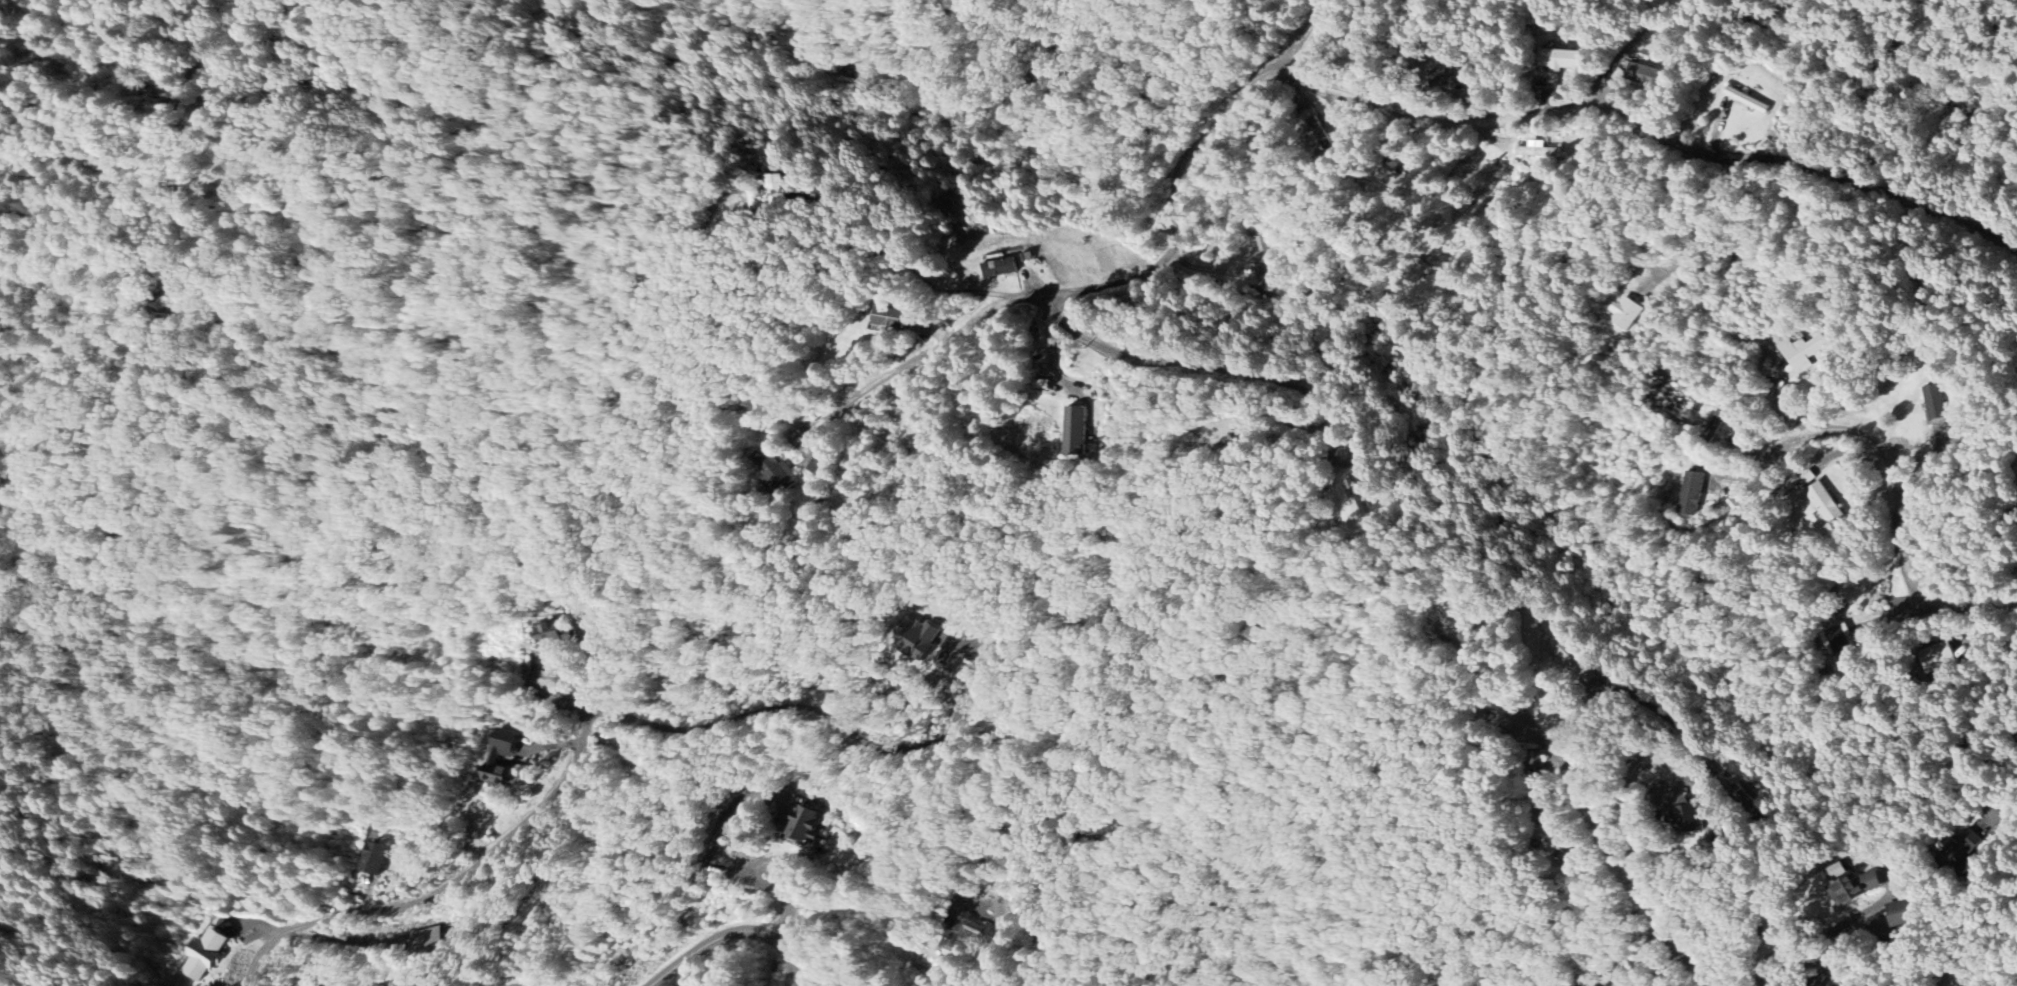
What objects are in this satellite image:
road: (1300, 32)
building: (1561, 59)
road: (1650, 128)
building: (1536, 150)
building: (773, 191)
road: (1174, 203)
road: (1705, 234)
building: (1259, 257)
road: (910, 263)
building: (998, 268)
building: (1625, 313)
building: (886, 318)
road: (938, 345)
building: (1801, 352)
road: (1187, 361)
building: (1933, 402)
building: (1715, 423)
building: (1073, 430)
building: (1692, 493)
building: (1824, 502)
road: (1892, 512)
building: (555, 633)
building: (914, 637)
building: (1838, 639)
building: (1564, 652)
road: (966, 685)
road: (1985, 713)
road: (576, 757)
building: (1534, 758)
building: (492, 761)
road: (1627, 805)
building: (1687, 815)
building: (803, 828)
building: (1957, 850)
building: (373, 860)
road: (720, 860)
road: (1623, 875)
building: (1851, 888)
building: (1020, 904)
building: (1900, 913)
road: (735, 931)
building: (963, 934)
road: (1815, 935)
building: (426, 940)
building: (203, 955)

